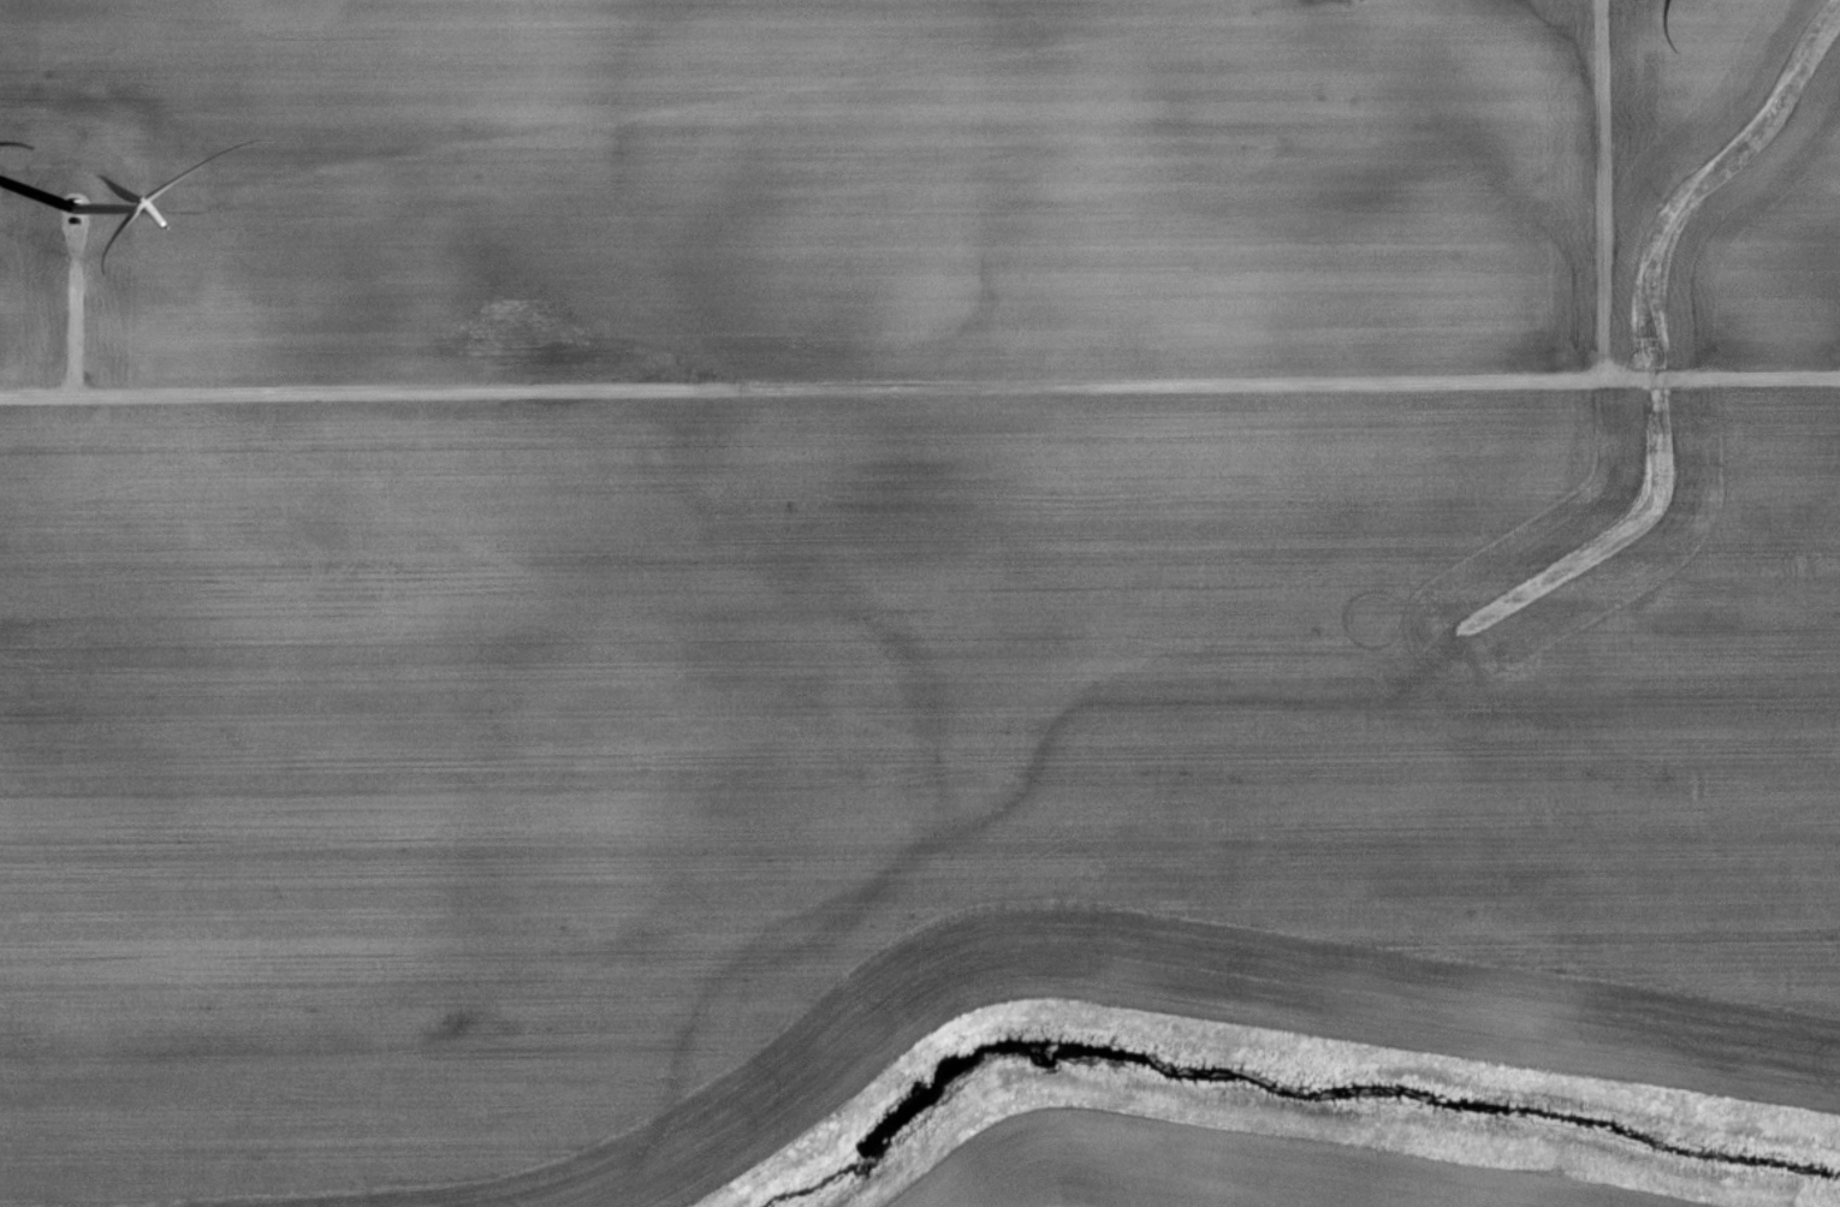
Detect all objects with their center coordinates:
road: (1604, 190)
wind turbine: (73, 225)
road: (76, 313)
road: (920, 386)

